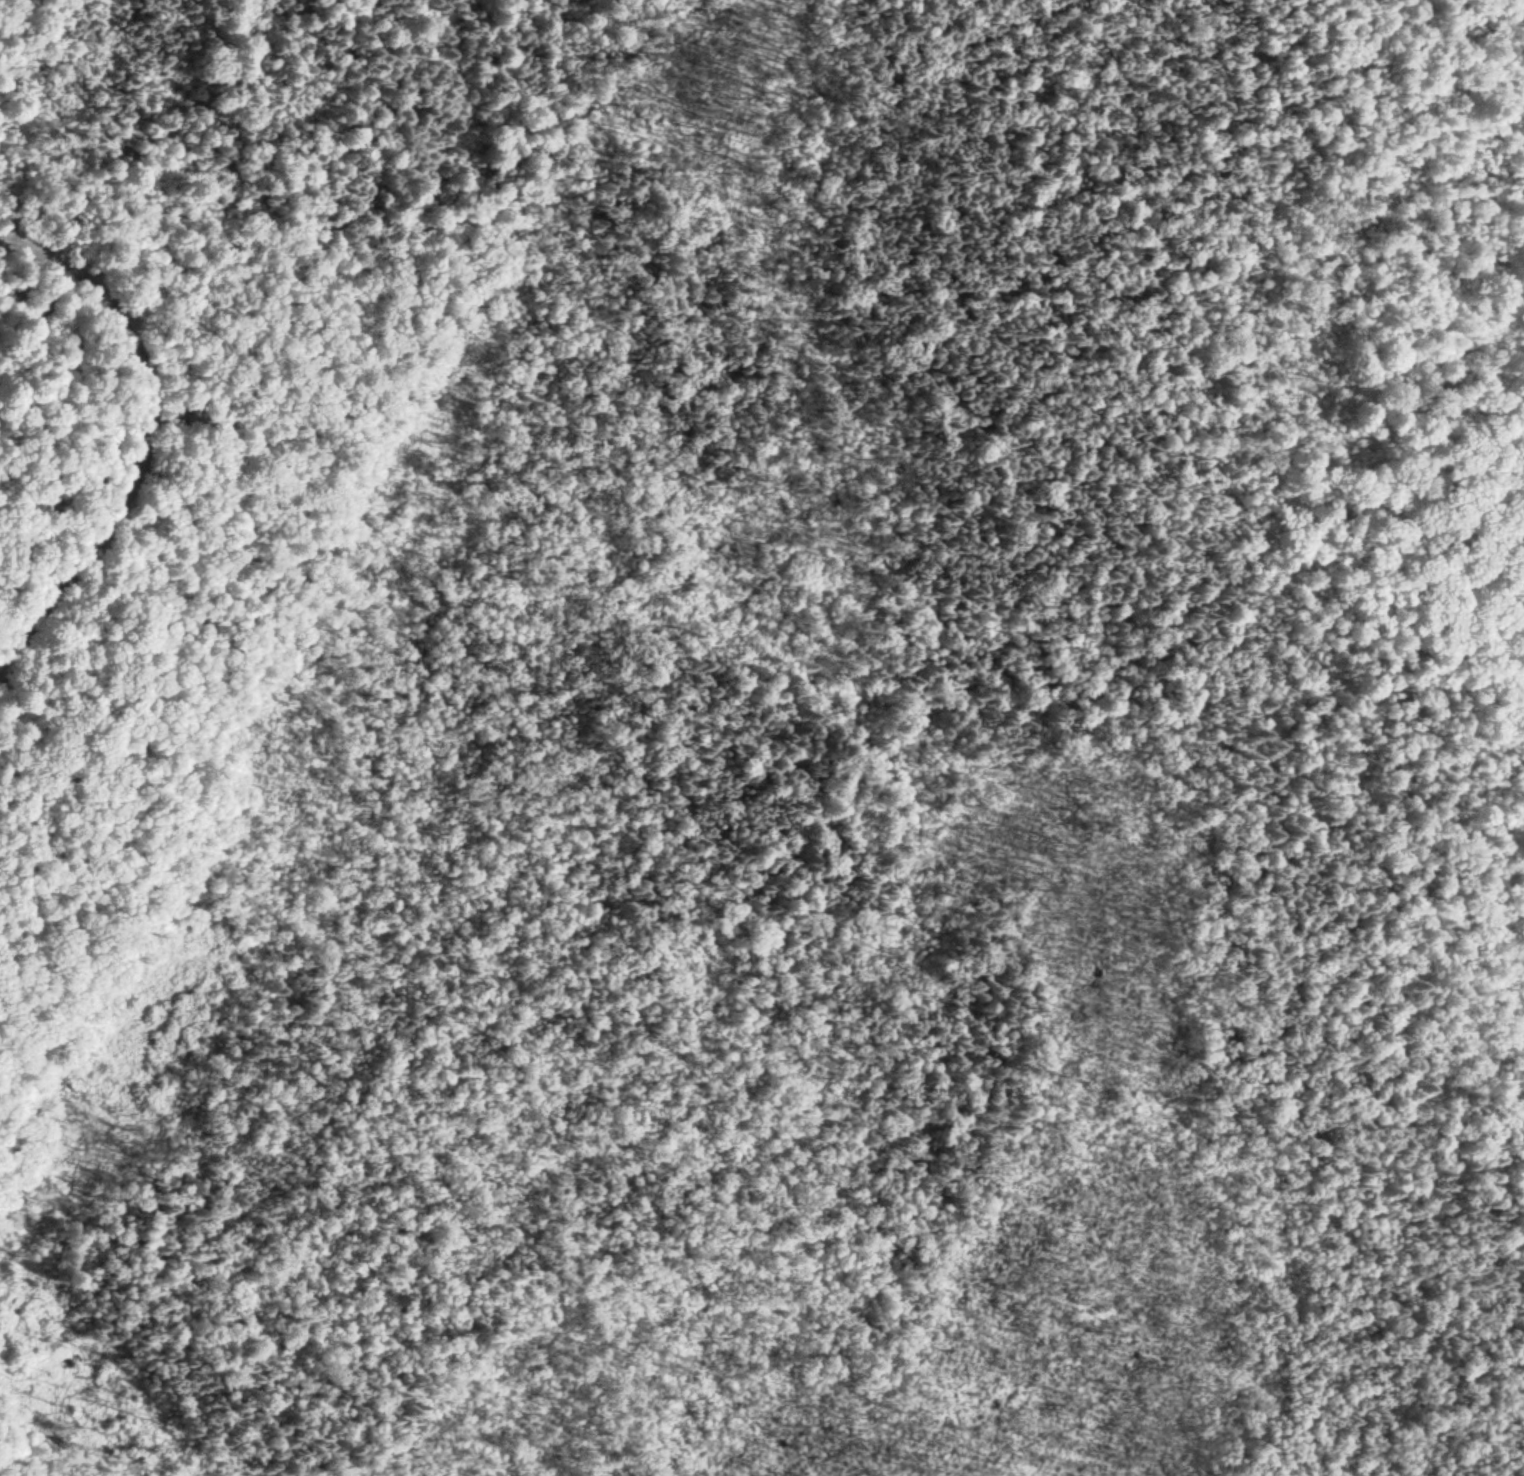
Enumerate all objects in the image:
road: (145, 437)
road: (300, 504)
road: (189, 549)
park: (722, 602)

